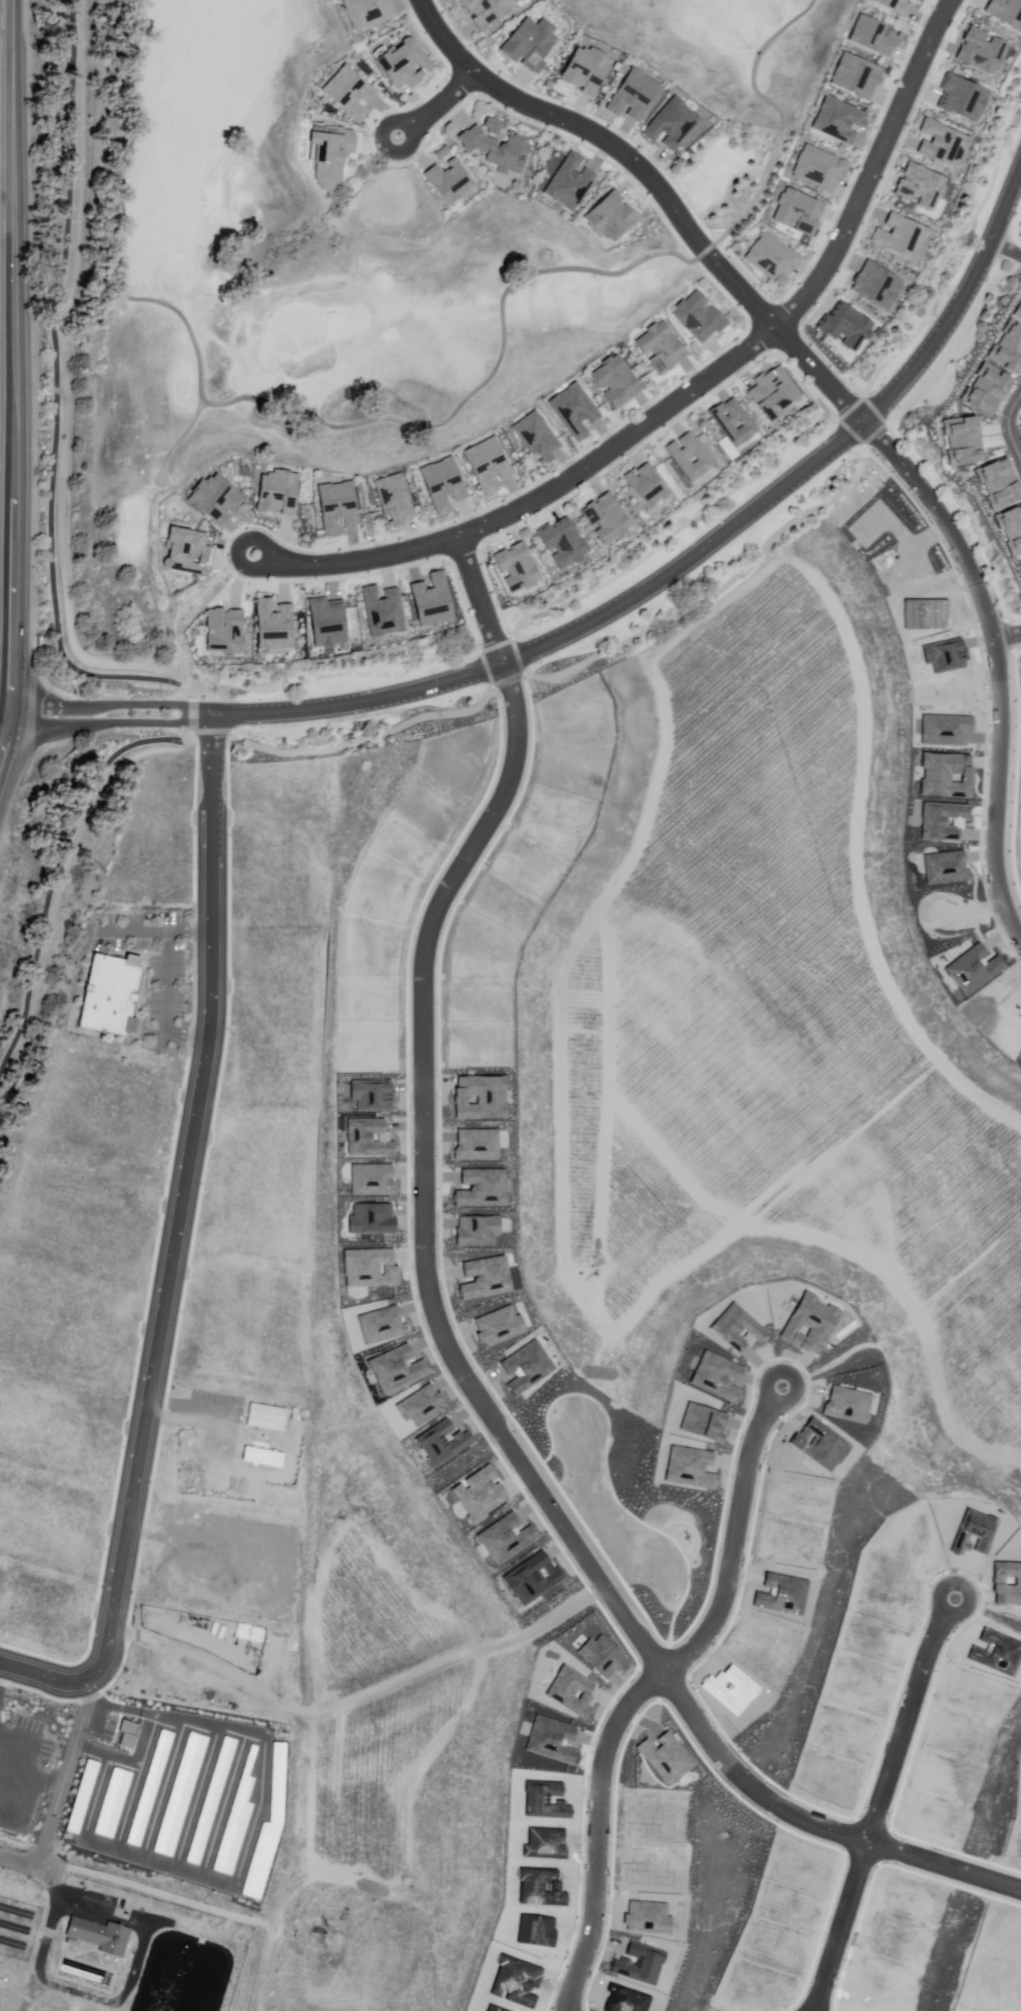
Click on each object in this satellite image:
building: (913, 1)
building: (892, 7)
building: (488, 9)
building: (371, 11)
building: (1005, 12)
park: (725, 20)
building: (872, 35)
building: (533, 42)
building: (980, 51)
park: (737, 52)
building: (405, 61)
building: (588, 68)
building: (855, 75)
building: (343, 91)
building: (636, 92)
building: (962, 98)
road: (434, 105)
road: (782, 112)
building: (840, 120)
building: (675, 121)
building: (496, 123)
building: (943, 142)
building: (499, 147)
building: (445, 150)
building: (819, 169)
building: (451, 180)
building: (572, 180)
building: (919, 186)
building: (798, 210)
building: (611, 218)
park: (380, 226)
building: (901, 237)
road: (1004, 251)
building: (775, 256)
building: (877, 284)
road: (738, 288)
park: (269, 294)
building: (701, 315)
building: (1018, 317)
parking lot: (1018, 317)
building: (846, 325)
park: (291, 340)
building: (663, 345)
building: (1006, 351)
parking lot: (1006, 351)
road: (12, 375)
building: (617, 382)
building: (987, 385)
parking lot: (987, 385)
building: (776, 391)
road: (688, 392)
road: (274, 407)
building: (576, 409)
building: (735, 420)
building: (539, 436)
building: (963, 439)
road: (176, 442)
building: (691, 456)
building: (490, 462)
building: (997, 482)
building: (445, 483)
building: (649, 485)
building: (276, 492)
building: (396, 497)
building: (213, 498)
building: (339, 504)
building: (609, 517)
building: (1011, 529)
building: (565, 541)
building: (188, 549)
building: (519, 566)
building: (434, 599)
road: (478, 601)
building: (385, 609)
road: (611, 610)
road: (61, 618)
building: (324, 621)
building: (276, 624)
building: (223, 630)
road: (1010, 635)
road: (1004, 780)
road: (159, 932)
parking lot: (152, 955)
building: (113, 998)
road: (168, 1002)
road: (618, 1098)
road: (181, 1199)
road: (44, 1676)
road: (22, 1861)
building: (101, 1939)
road: (46, 1953)

